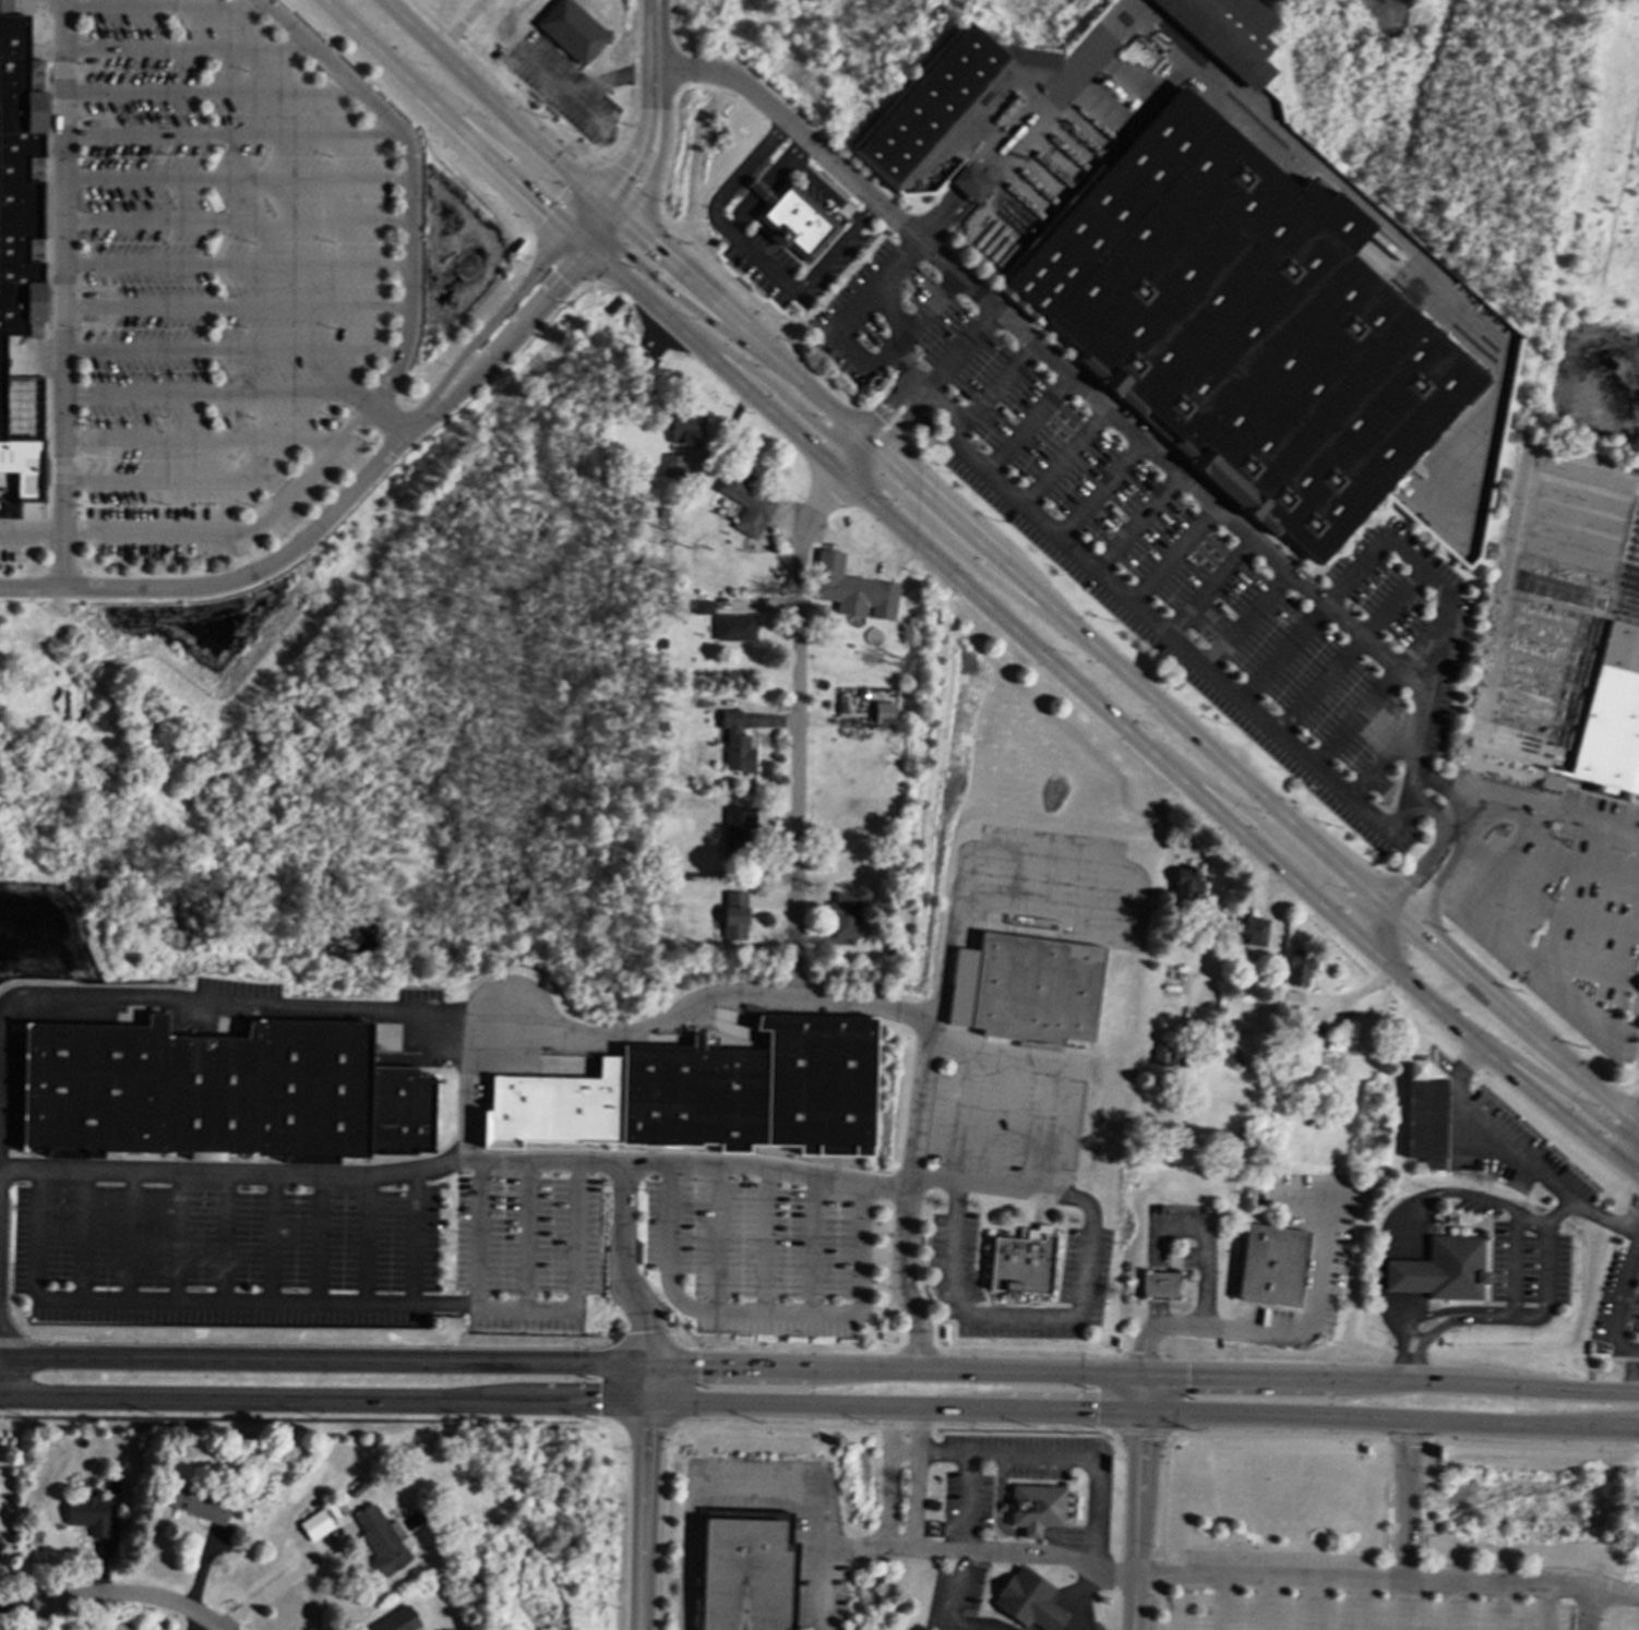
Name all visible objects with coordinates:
road: (50, 3)
road: (165, 5)
building: (572, 31)
building: (1225, 33)
road: (1098, 37)
road: (189, 49)
road: (658, 57)
road: (594, 81)
road: (211, 92)
building: (936, 99)
road: (458, 124)
road: (799, 128)
road: (230, 133)
road: (512, 148)
road: (620, 175)
building: (19, 176)
road: (236, 178)
building: (969, 182)
road: (769, 184)
road: (646, 189)
traffic signals: (600, 197)
road: (834, 199)
road: (714, 208)
building: (792, 218)
traffic signals: (624, 219)
road: (236, 220)
traffic signals: (572, 230)
parking lot: (853, 236)
traffic signals: (593, 249)
road: (827, 255)
road: (236, 263)
road: (61, 267)
road: (504, 305)
road: (236, 307)
road: (690, 308)
road: (931, 311)
road: (895, 317)
road: (523, 323)
building: (1252, 326)
road: (960, 348)
road: (231, 349)
road: (399, 358)
road: (765, 379)
road: (993, 391)
road: (216, 395)
road: (385, 419)
road: (1026, 423)
building: (685, 429)
building: (20, 439)
road: (199, 440)
road: (1062, 456)
building: (672, 466)
road: (1172, 467)
road: (179, 481)
road: (1097, 488)
building: (749, 505)
road: (1135, 522)
road: (31, 537)
road: (1054, 537)
road: (1171, 553)
parking lot: (1180, 554)
road: (286, 555)
road: (966, 558)
road: (61, 562)
road: (1010, 568)
road: (1341, 584)
road: (29, 587)
road: (1209, 587)
building: (851, 589)
building: (703, 608)
road: (1244, 619)
road: (1500, 625)
building: (734, 627)
road: (1350, 649)
road: (798, 705)
road: (1425, 707)
building: (884, 712)
road: (1115, 716)
road: (1354, 716)
building: (1614, 717)
building: (735, 743)
road: (1388, 752)
road: (1453, 789)
road: (1581, 814)
road: (1460, 815)
road: (1437, 818)
road: (1269, 828)
building: (738, 832)
road: (1559, 852)
road: (1456, 858)
road: (1408, 877)
building: (1187, 883)
building: (845, 914)
road: (1093, 914)
building: (734, 915)
road: (1377, 925)
building: (1251, 930)
building: (1299, 968)
building: (1026, 987)
building: (1292, 998)
road: (468, 1024)
building: (1161, 1054)
road: (1058, 1066)
road: (1544, 1078)
building: (219, 1091)
building: (709, 1091)
building: (1424, 1114)
road: (956, 1115)
road: (1005, 1123)
road: (1509, 1151)
road: (1629, 1154)
road: (454, 1160)
road: (1432, 1191)
road: (907, 1201)
road: (1630, 1209)
road: (1632, 1214)
road: (1528, 1218)
road: (1634, 1227)
road: (480, 1232)
road: (83, 1234)
road: (527, 1234)
road: (131, 1235)
road: (180, 1236)
road: (226, 1236)
road: (273, 1236)
road: (414, 1236)
road: (718, 1236)
road: (321, 1237)
road: (369, 1237)
road: (768, 1239)
road: (816, 1244)
parking lot: (312, 1253)
road: (1206, 1253)
building: (1022, 1259)
road: (1511, 1261)
building: (1272, 1263)
road: (623, 1269)
building: (1441, 1270)
road: (1402, 1275)
road: (1156, 1277)
building: (1158, 1282)
road: (1540, 1284)
road: (1620, 1293)
road: (1085, 1295)
road: (311, 1301)
road: (762, 1309)
road: (1434, 1309)
road: (1287, 1329)
road: (1411, 1333)
road: (1422, 1334)
road: (1401, 1337)
road: (1611, 1357)
traffic signals: (651, 1369)
road: (820, 1369)
road: (1630, 1370)
traffic signals: (1141, 1380)
traffic signals: (653, 1404)
road: (820, 1406)
traffic signals: (1140, 1415)
road: (882, 1425)
road: (1140, 1431)
road: (1180, 1433)
road: (1407, 1438)
road: (1531, 1443)
road: (997, 1453)
road: (889, 1478)
road: (919, 1478)
road: (708, 1487)
road: (649, 1499)
road: (1404, 1500)
road: (968, 1502)
building: (200, 1505)
road: (1137, 1505)
building: (1038, 1509)
building: (88, 1512)
road: (1098, 1520)
building: (314, 1524)
building: (380, 1539)
road: (982, 1553)
building: (751, 1575)
road: (1388, 1578)
road: (826, 1589)
road: (277, 1590)
road: (140, 1594)
road: (1084, 1596)
parking lot: (1339, 1597)
road: (1184, 1599)
building: (1030, 1601)
road: (1220, 1601)
road: (1266, 1602)
road: (956, 1603)
road: (1314, 1603)
road: (1360, 1604)
road: (1402, 1604)
road: (25, 1605)
road: (1455, 1605)
road: (1500, 1606)
road: (1546, 1607)
road: (1586, 1609)
building: (397, 1620)

